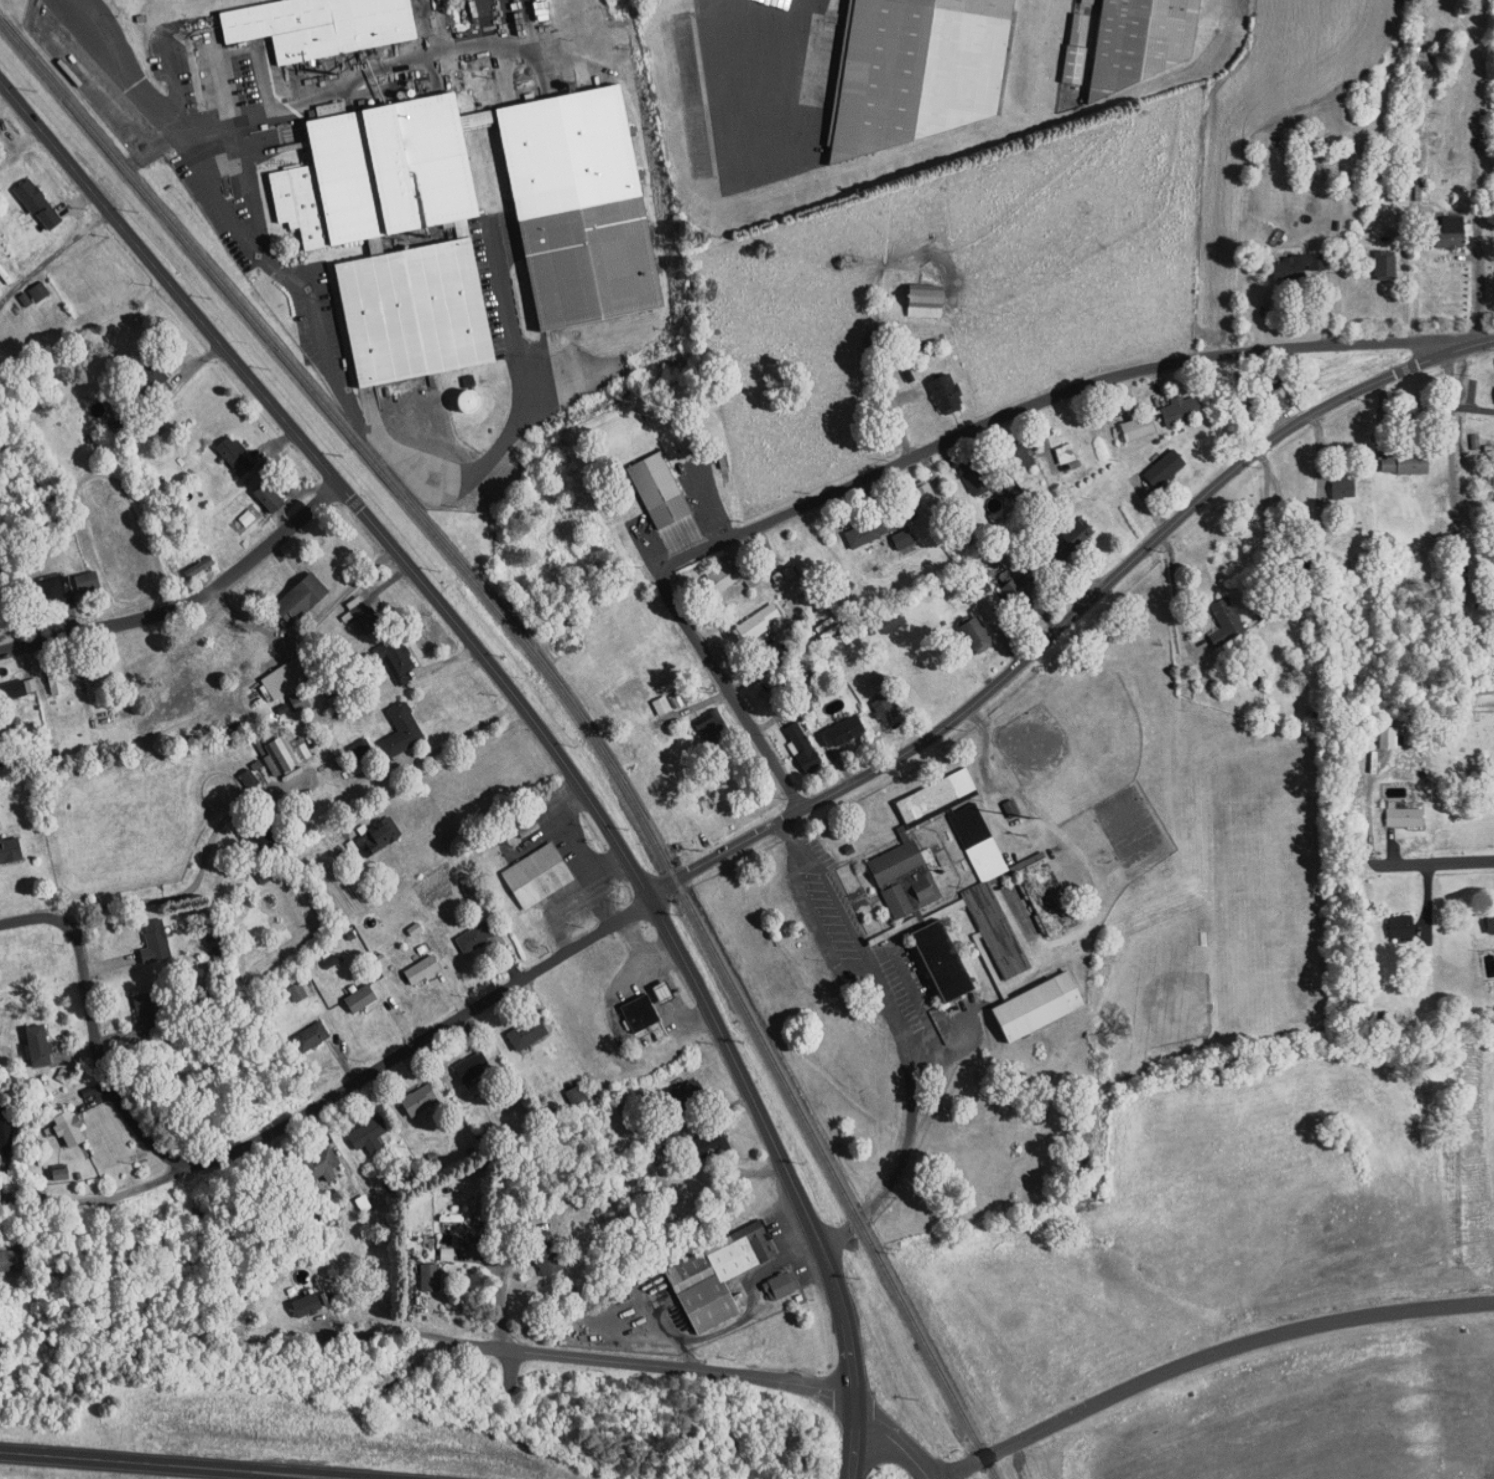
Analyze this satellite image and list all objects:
road: (495, 23)
road: (528, 24)
building: (322, 26)
road: (429, 31)
building: (1143, 40)
building: (1077, 49)
road: (236, 50)
road: (784, 67)
building: (919, 70)
road: (389, 75)
road: (176, 90)
building: (0, 144)
road: (248, 188)
building: (38, 204)
building: (579, 207)
road: (81, 210)
building: (1452, 233)
building: (396, 234)
road: (247, 237)
road: (68, 246)
building: (1316, 262)
building: (1386, 264)
building: (1289, 267)
building: (40, 292)
building: (926, 301)
road: (1470, 341)
road: (523, 381)
building: (947, 394)
road: (1472, 406)
building: (1182, 410)
building: (1139, 428)
building: (1066, 454)
building: (235, 455)
road: (910, 458)
building: (1018, 458)
building: (1405, 464)
building: (1165, 469)
road: (1451, 471)
building: (975, 479)
building: (1346, 488)
building: (660, 490)
building: (926, 496)
building: (270, 498)
building: (867, 533)
building: (904, 540)
building: (1072, 540)
building: (201, 567)
building: (731, 577)
building: (88, 582)
building: (1015, 586)
road: (1176, 589)
building: (57, 591)
building: (992, 597)
road: (183, 598)
building: (301, 600)
building: (364, 614)
building: (759, 622)
building: (893, 622)
building: (1226, 622)
road: (1052, 627)
building: (978, 635)
building: (768, 655)
building: (397, 657)
building: (99, 666)
building: (284, 678)
building: (61, 685)
building: (21, 688)
building: (663, 706)
building: (885, 711)
railway: (557, 712)
road: (531, 726)
building: (713, 726)
building: (403, 731)
building: (843, 732)
road: (460, 738)
building: (1388, 738)
building: (361, 749)
building: (803, 749)
building: (1012, 809)
building: (1405, 817)
building: (526, 824)
road: (576, 836)
building: (379, 837)
building: (10, 851)
building: (972, 862)
road: (1377, 864)
road: (202, 876)
building: (538, 876)
building: (905, 880)
road: (598, 890)
building: (1046, 895)
road: (570, 917)
building: (1490, 923)
building: (1402, 928)
building: (476, 937)
building: (157, 942)
building: (942, 961)
building: (423, 971)
building: (664, 991)
building: (298, 993)
building: (361, 999)
building: (1039, 1007)
building: (146, 1012)
building: (641, 1014)
building: (529, 1032)
road: (900, 1033)
building: (312, 1037)
road: (417, 1040)
building: (39, 1046)
building: (472, 1068)
building: (577, 1095)
building: (683, 1096)
building: (420, 1100)
road: (125, 1122)
building: (7, 1128)
building: (69, 1128)
building: (369, 1136)
building: (707, 1145)
building: (322, 1165)
road: (803, 1254)
building: (547, 1259)
building: (9, 1261)
building: (718, 1276)
building: (431, 1278)
building: (782, 1286)
building: (308, 1305)
road: (500, 1307)
road: (739, 1323)
road: (1205, 1357)
road: (596, 1358)
road: (898, 1442)
road: (146, 1462)
road: (346, 1475)
road: (307, 1476)

